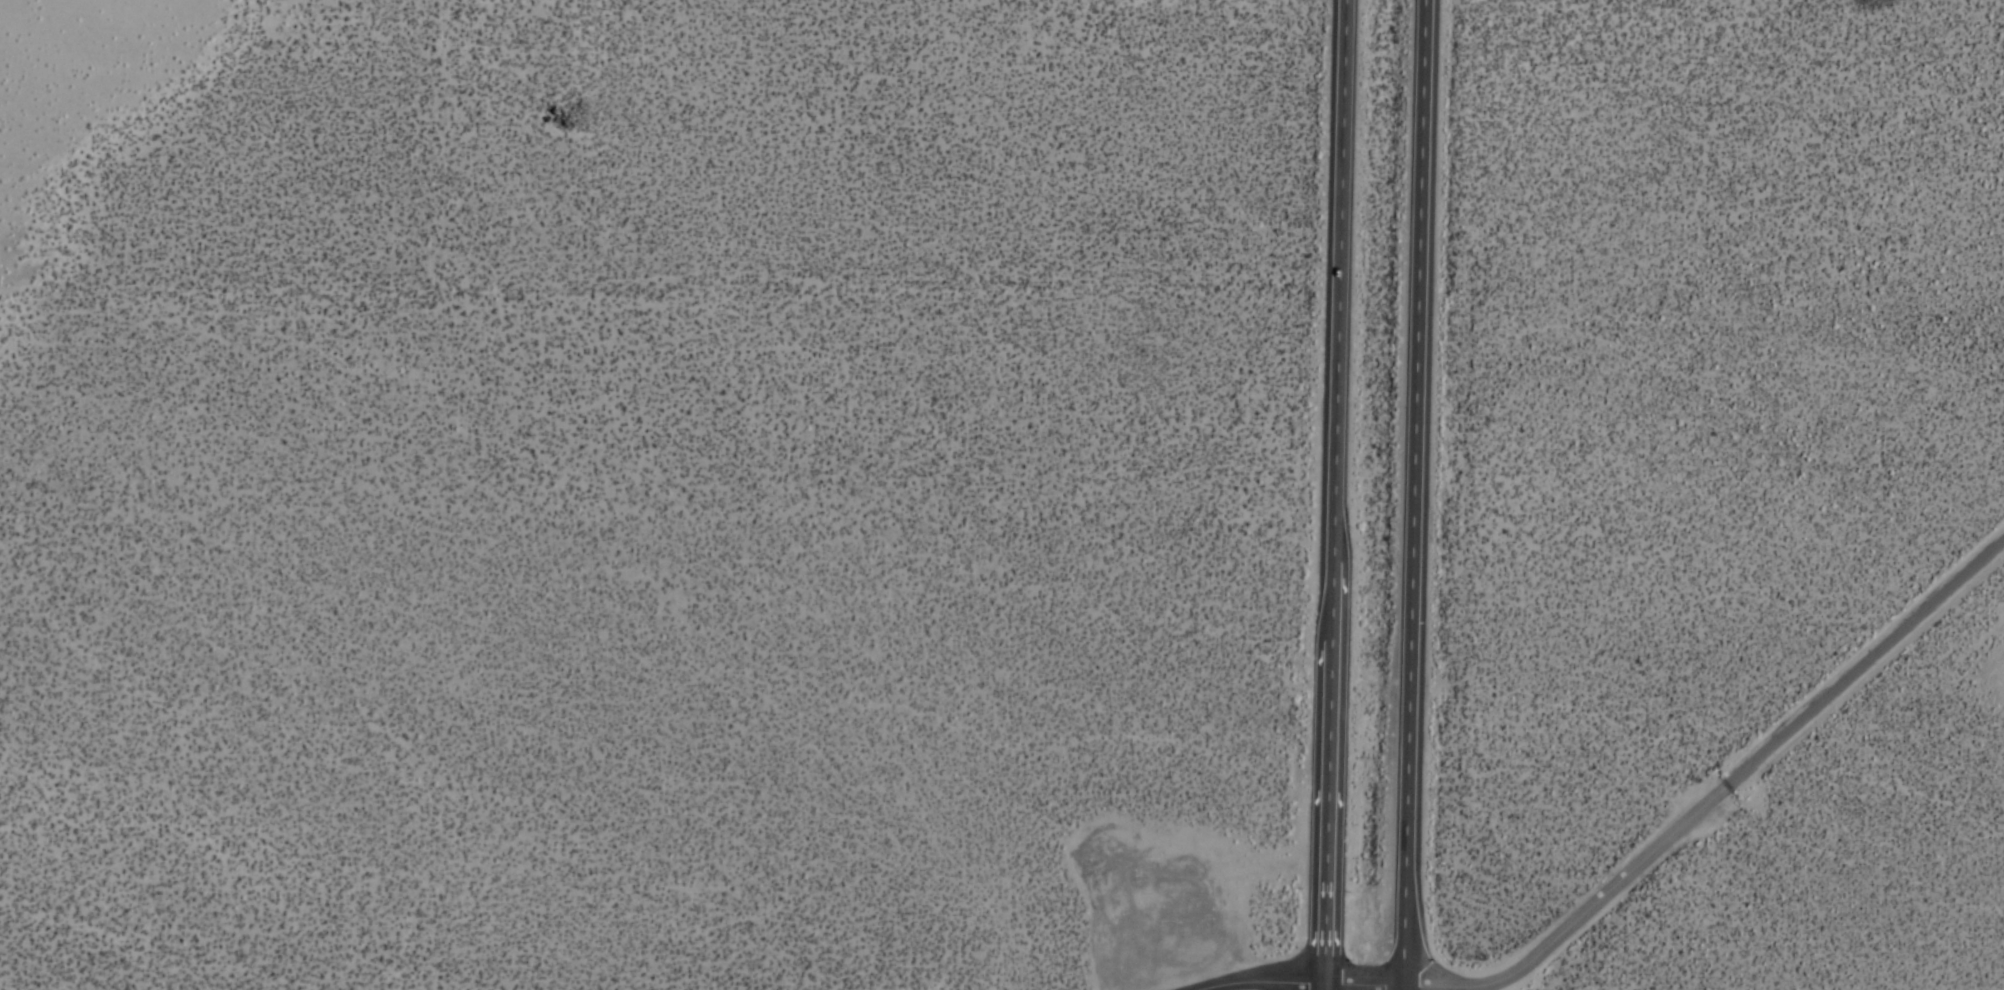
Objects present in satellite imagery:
road: (1337, 285)
road: (1415, 493)
road: (1330, 608)
road: (1718, 796)
road: (1327, 815)
road: (1263, 979)
road: (1364, 985)
road: (1324, 987)
road: (1403, 988)

